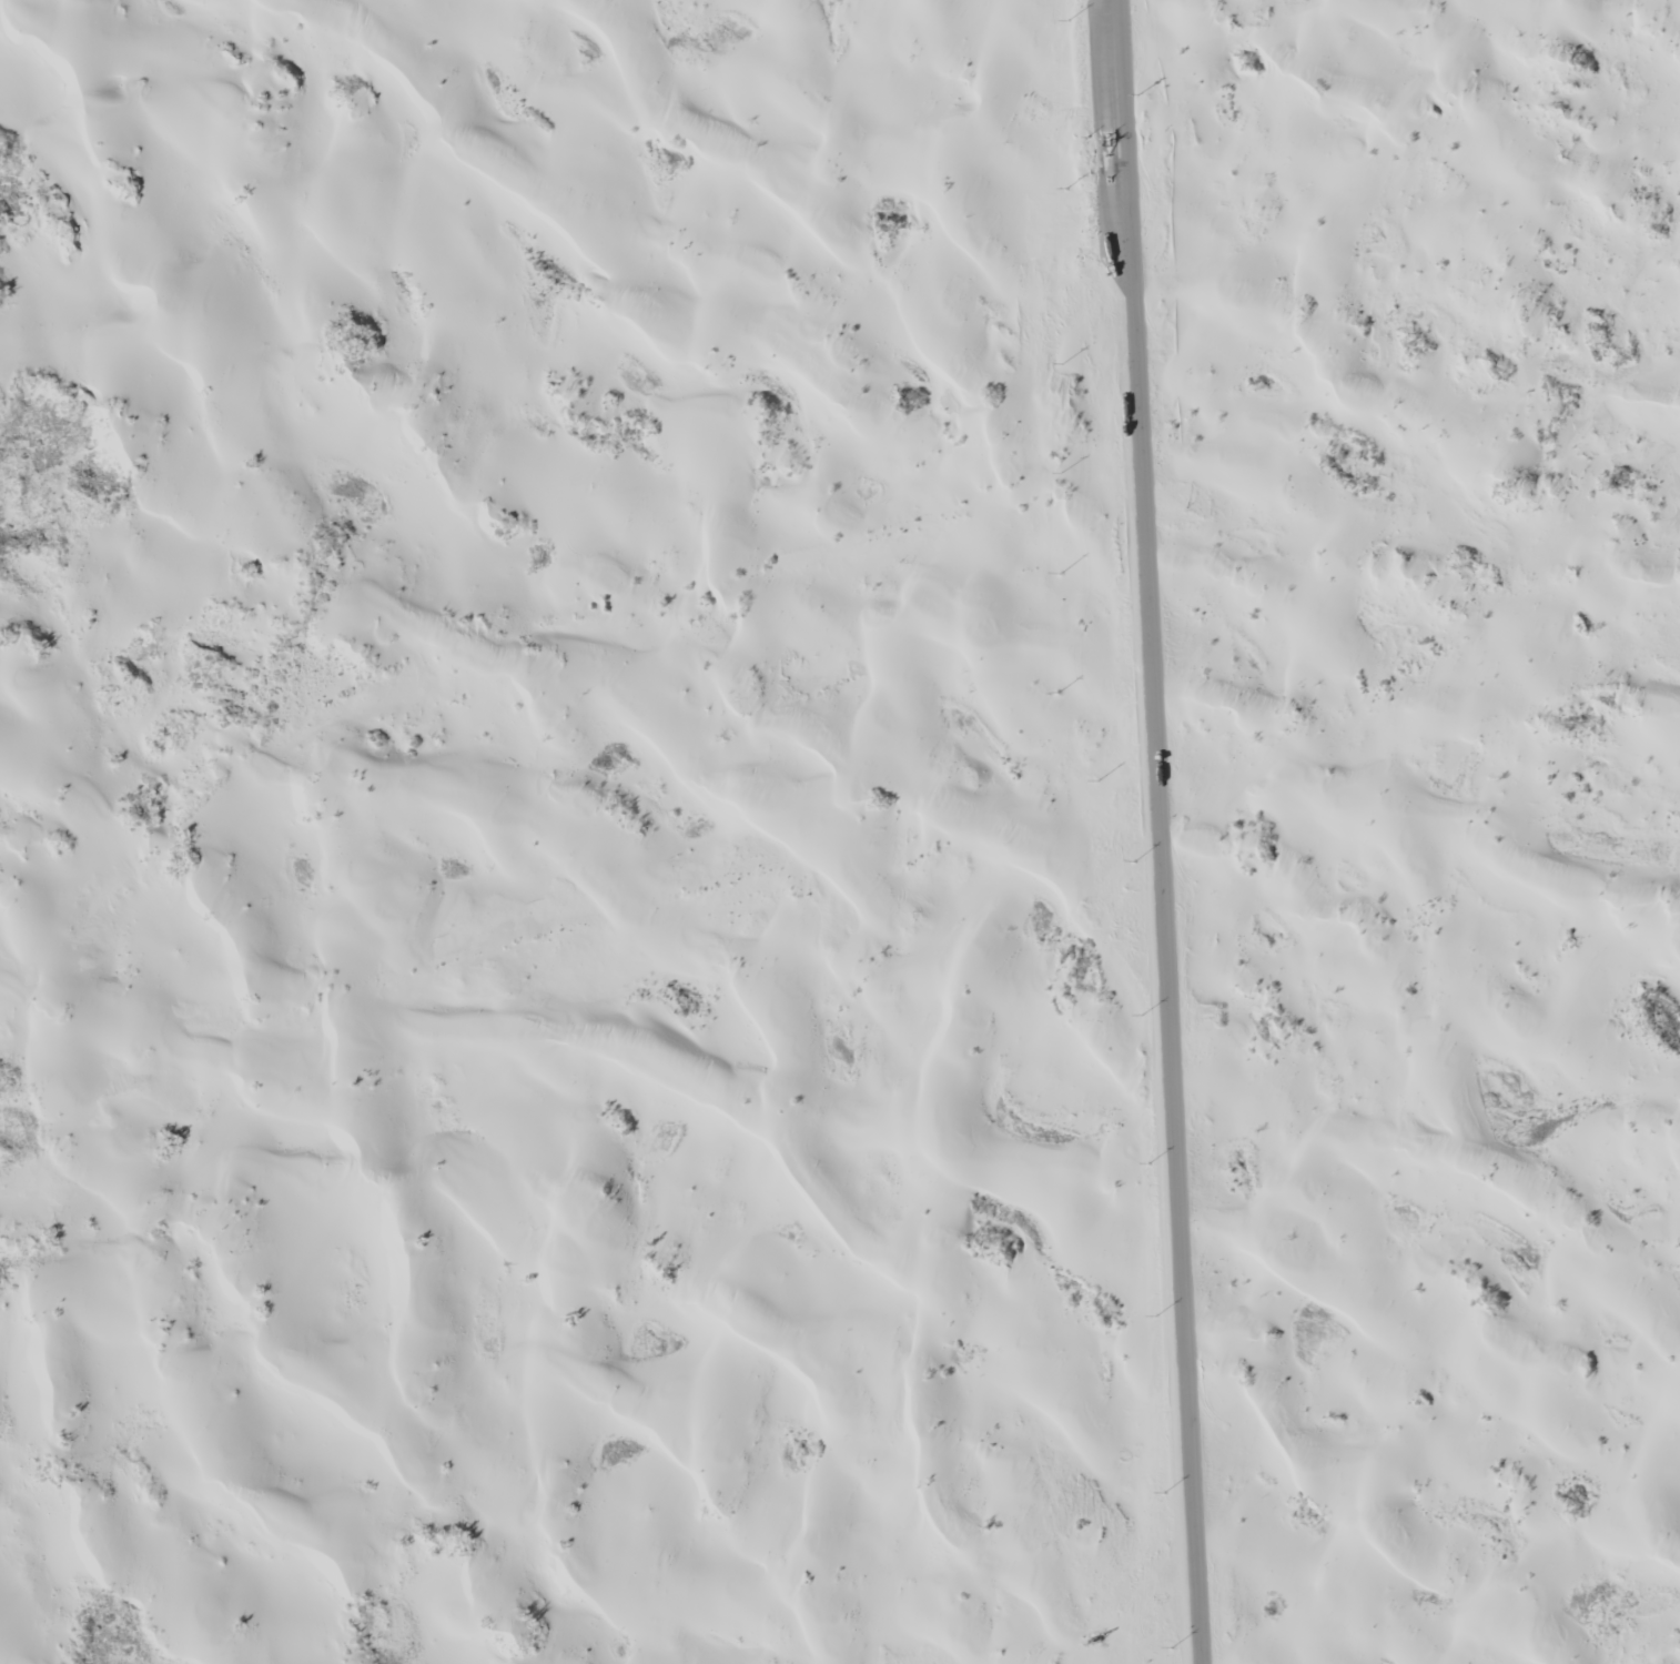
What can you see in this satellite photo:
road: (1177, 831)

